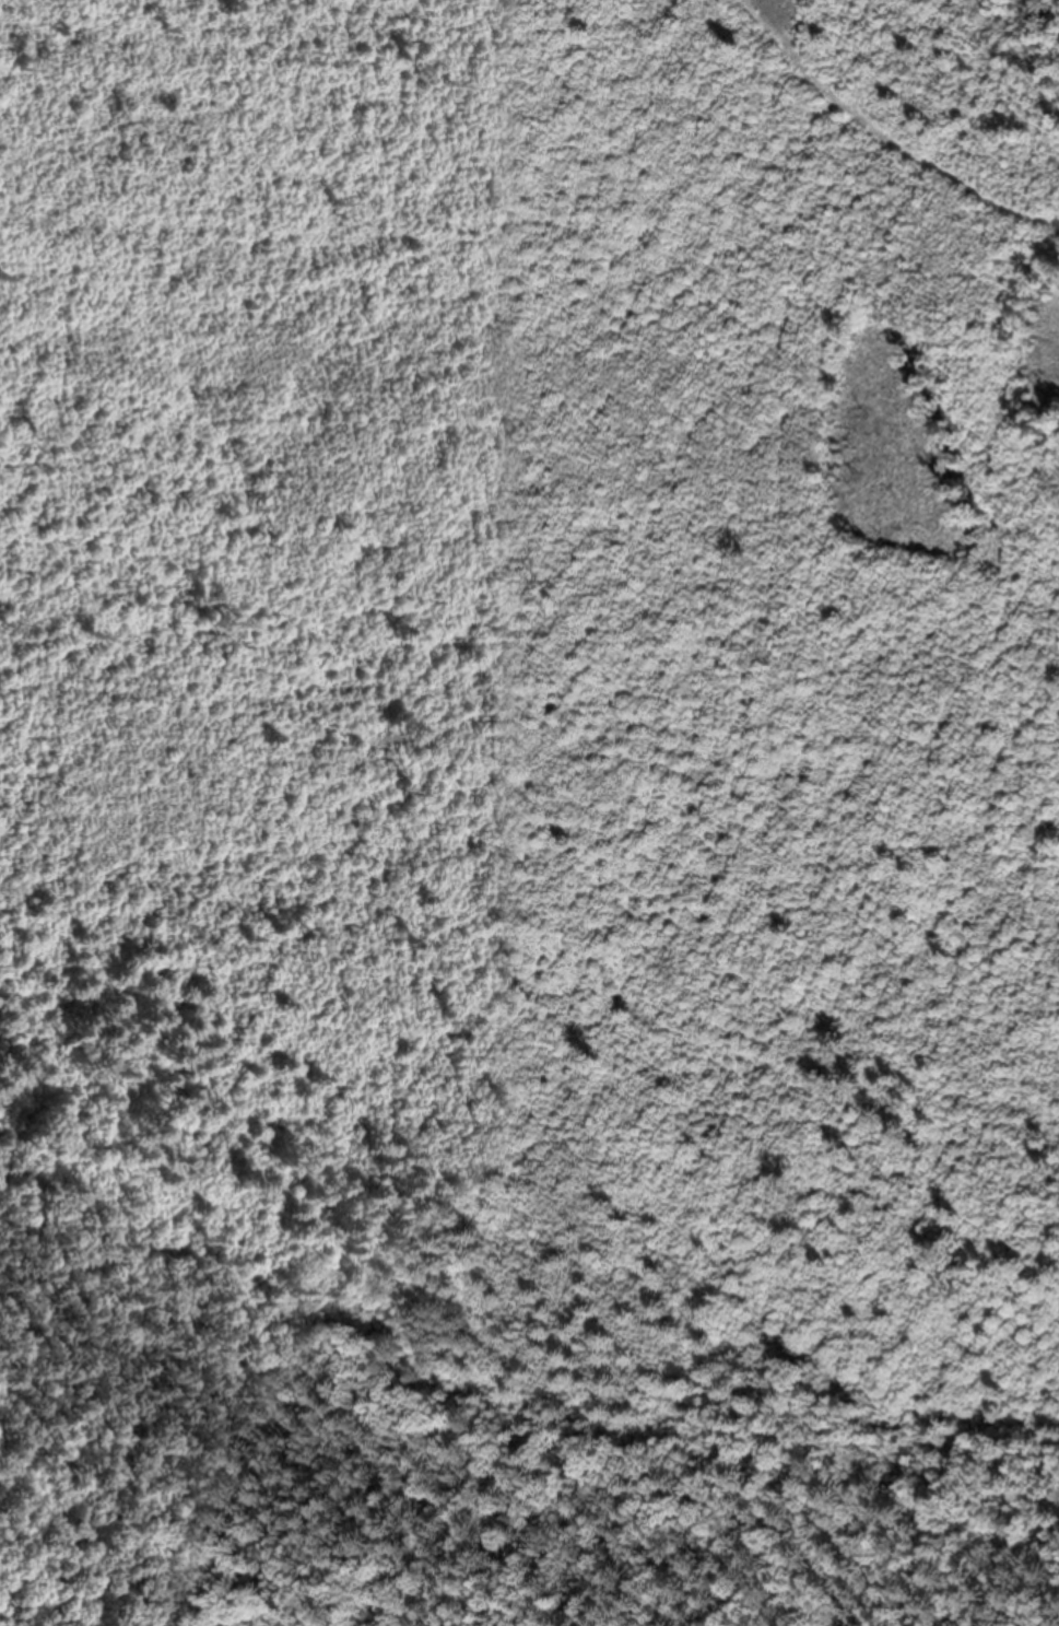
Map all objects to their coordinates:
park: (956, 803)

